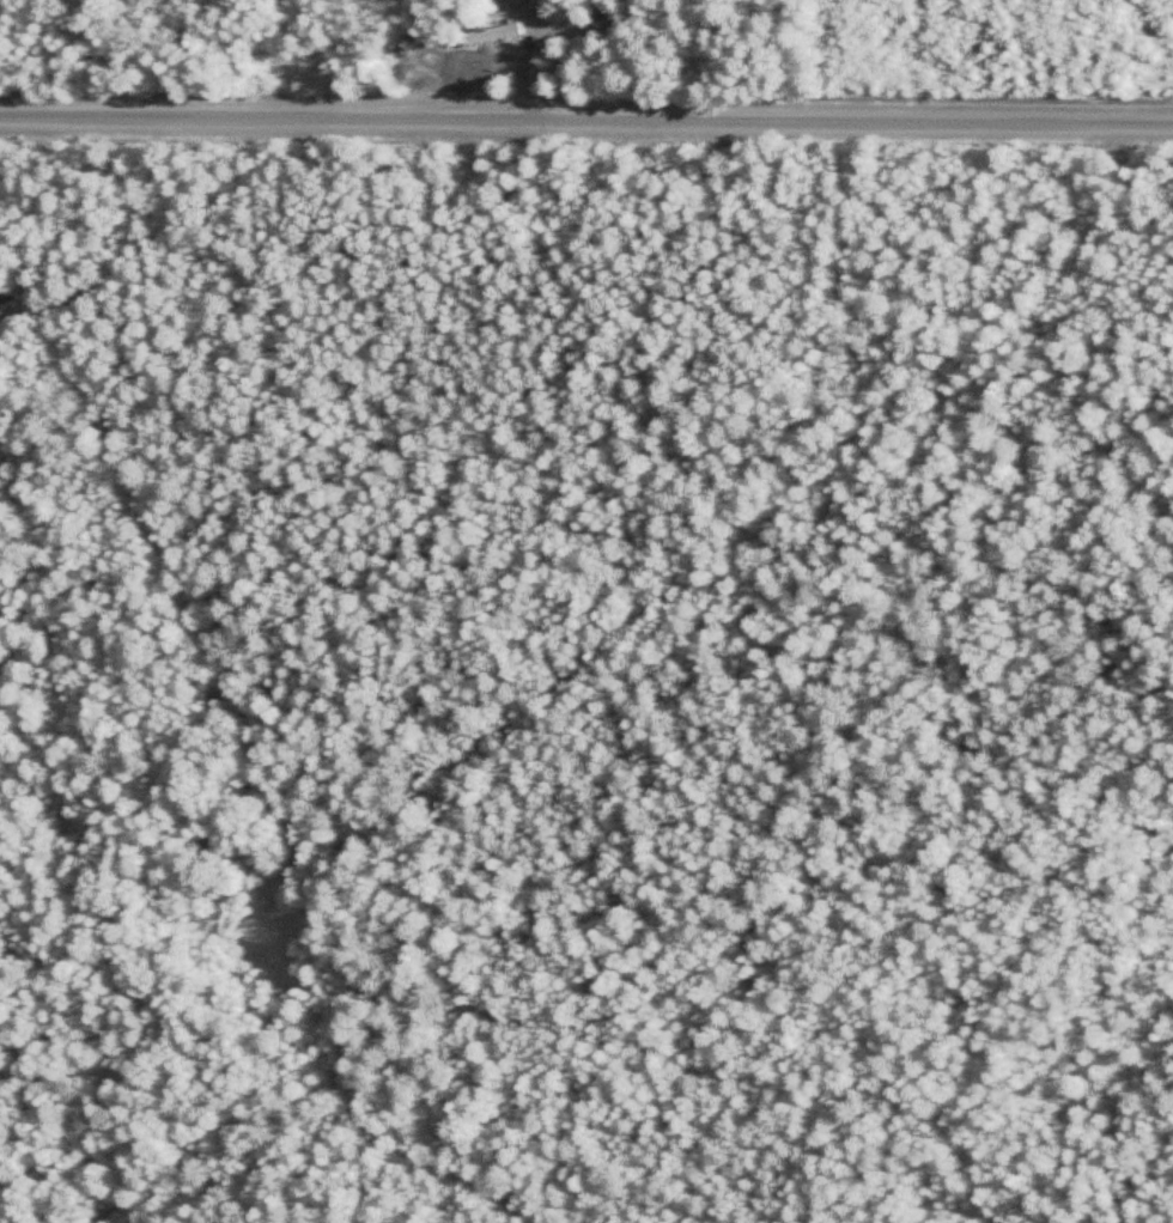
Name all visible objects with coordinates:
building: (518, 18)
road: (586, 124)
building: (4, 293)

